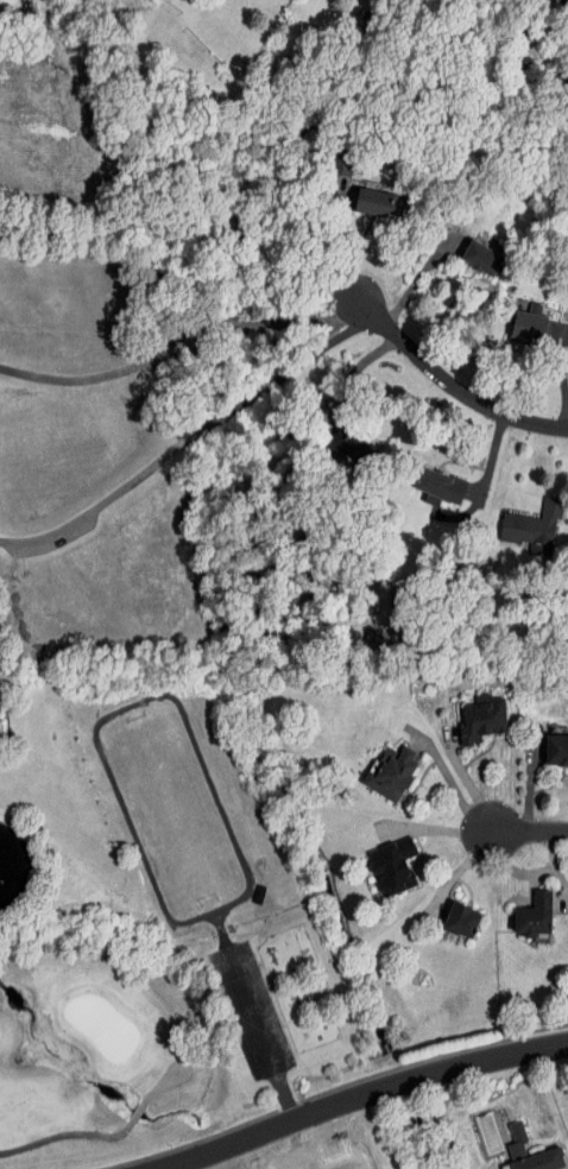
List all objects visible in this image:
park: (40, 15)
building: (377, 203)
road: (193, 225)
building: (481, 258)
road: (417, 283)
building: (539, 328)
road: (187, 345)
road: (361, 373)
road: (454, 384)
road: (193, 435)
building: (440, 488)
building: (531, 525)
building: (482, 718)
building: (556, 747)
building: (393, 771)
road: (448, 778)
road: (466, 778)
road: (530, 784)
road: (530, 830)
road: (435, 832)
building: (392, 865)
road: (513, 870)
road: (556, 871)
road: (456, 872)
building: (535, 914)
building: (461, 918)
park: (111, 1060)
road: (487, 1060)
road: (284, 1123)
building: (516, 1144)

